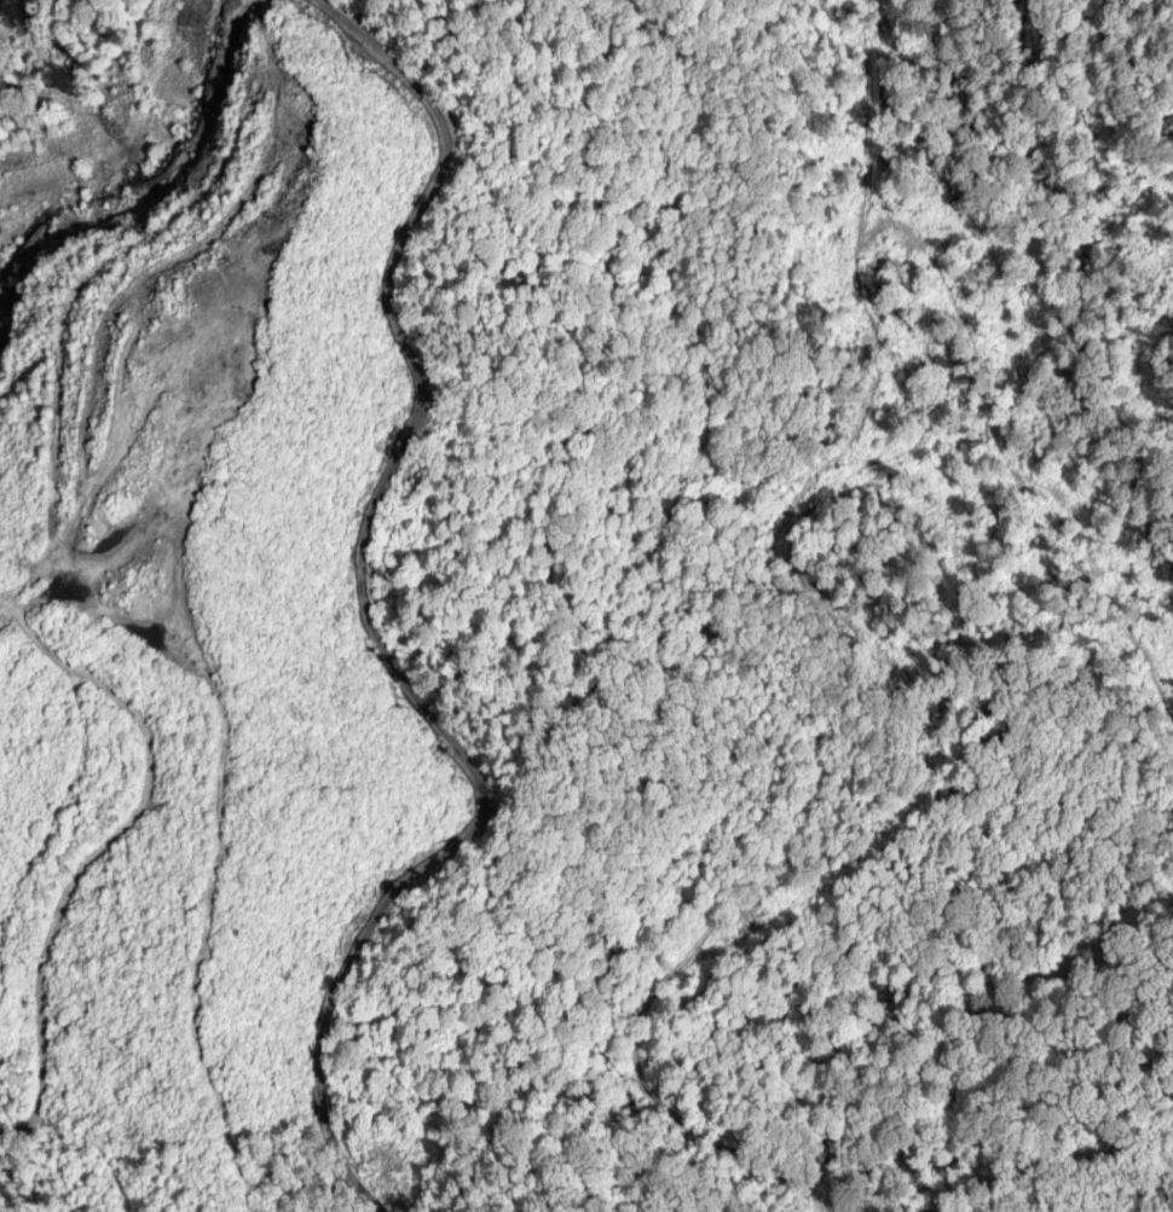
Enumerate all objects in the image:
road: (365, 624)

